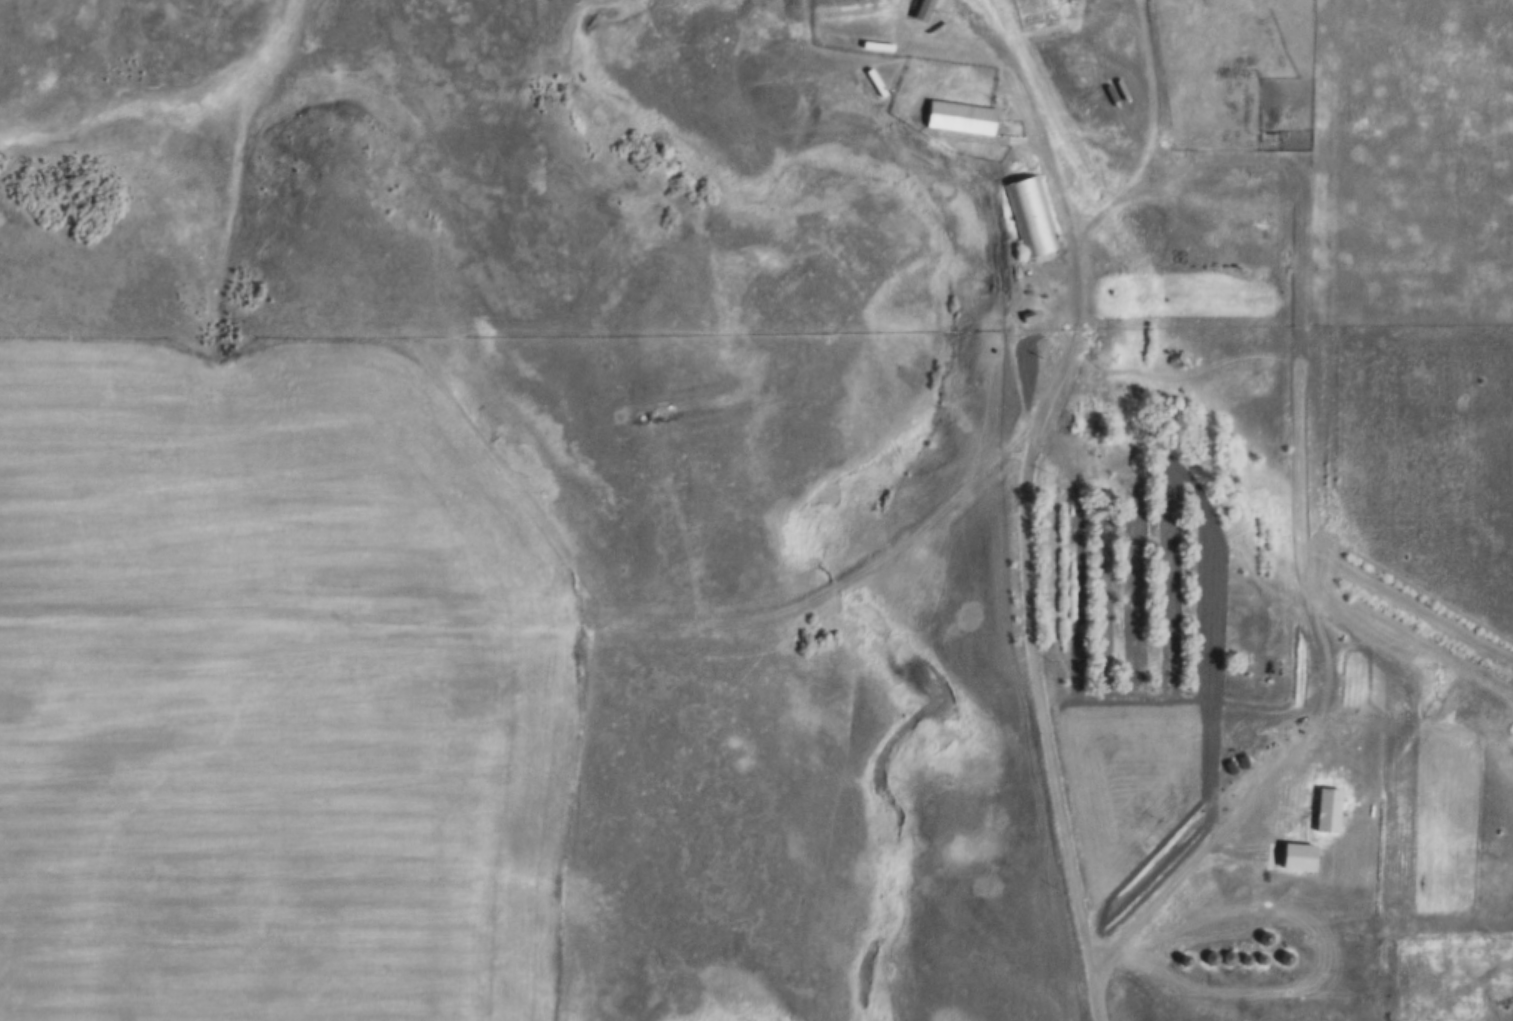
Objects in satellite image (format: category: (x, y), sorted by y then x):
building: (962, 120)
road: (895, 128)
building: (1029, 220)
building: (1094, 421)
road: (1252, 495)
road: (1020, 497)
road: (539, 620)
building: (1330, 812)
road: (1190, 862)

